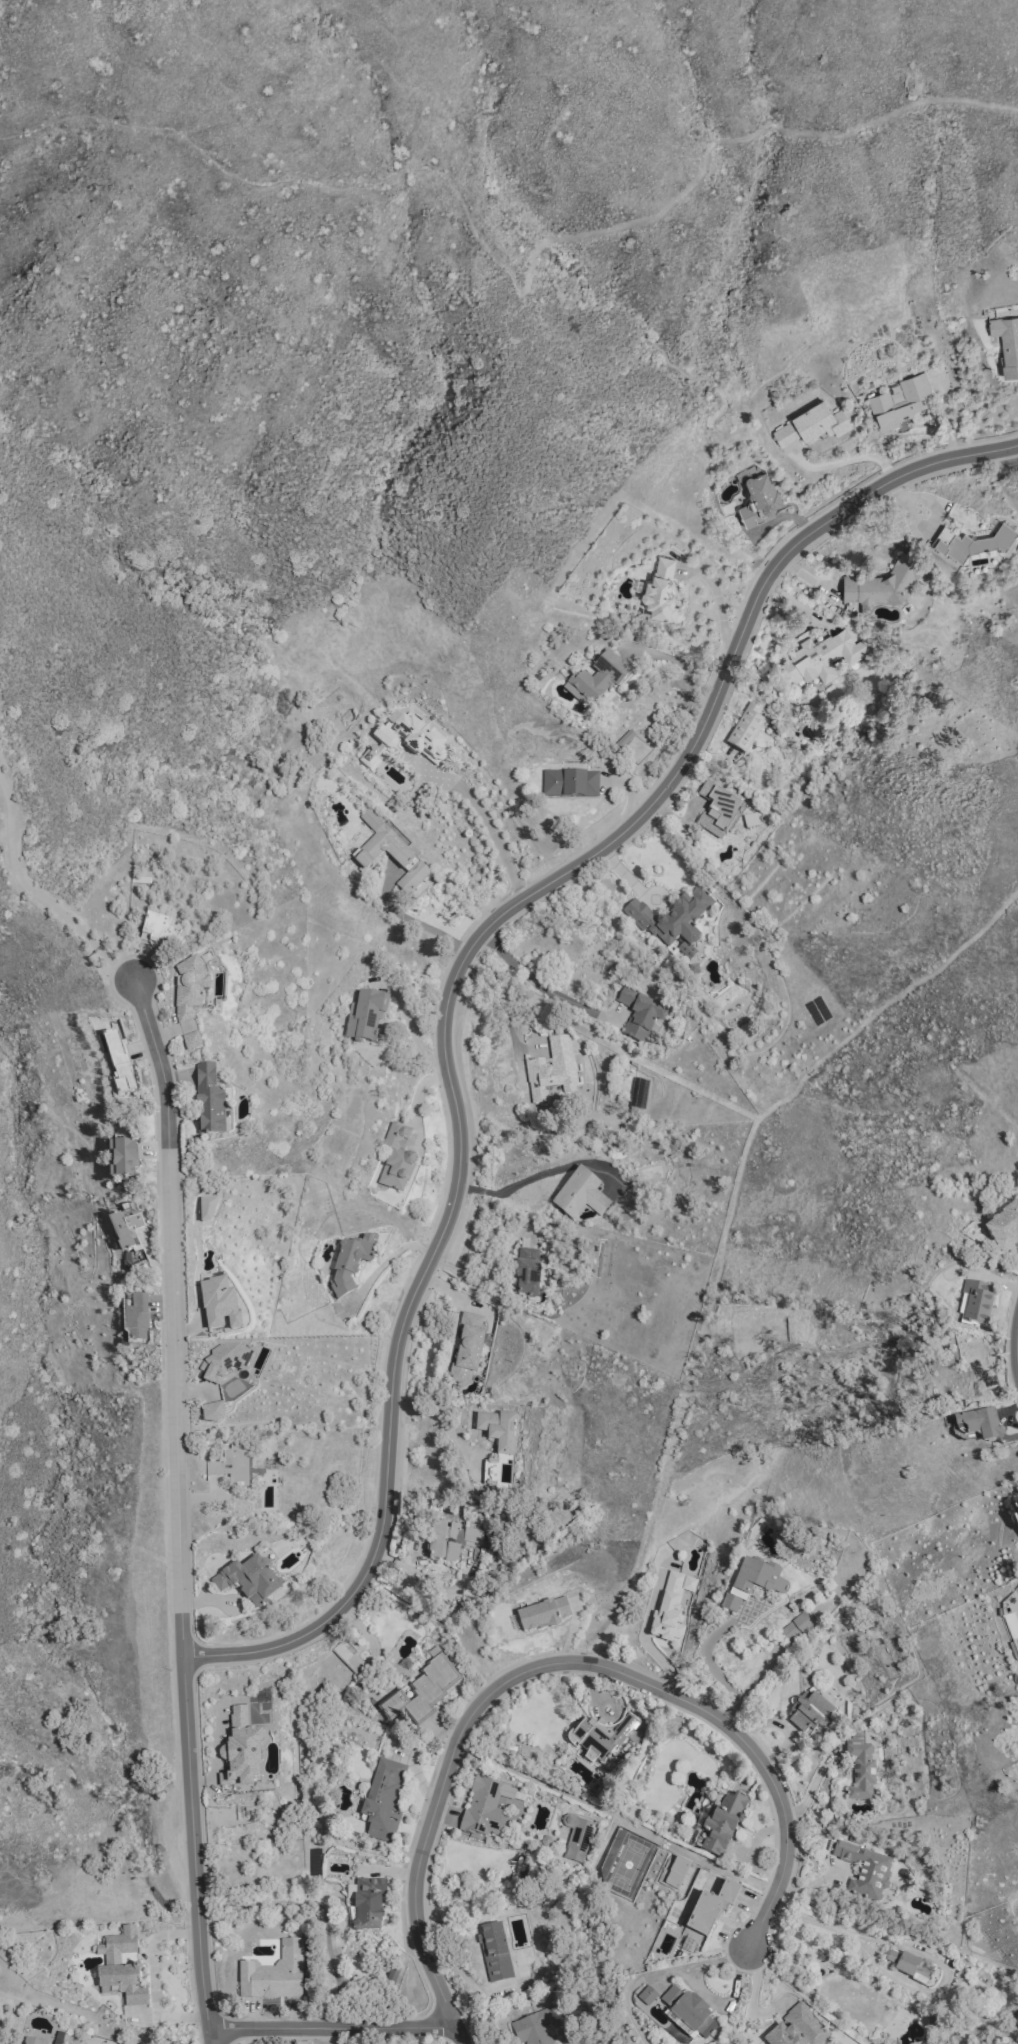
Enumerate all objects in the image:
building: (1005, 342)
building: (900, 401)
building: (811, 424)
road: (1007, 458)
building: (758, 500)
building: (971, 542)
building: (882, 583)
building: (659, 590)
road: (718, 608)
building: (821, 656)
road: (684, 668)
building: (597, 679)
building: (746, 727)
building: (411, 736)
building: (370, 758)
building: (570, 783)
building: (718, 811)
road: (495, 837)
building: (389, 854)
road: (35, 894)
building: (674, 920)
road: (416, 921)
building: (161, 933)
road: (534, 975)
road: (454, 985)
building: (189, 989)
building: (365, 1013)
building: (638, 1015)
building: (187, 1027)
building: (191, 1041)
building: (118, 1063)
building: (551, 1070)
building: (209, 1101)
building: (121, 1158)
building: (396, 1158)
road: (520, 1182)
building: (580, 1194)
building: (206, 1209)
building: (1004, 1226)
building: (124, 1227)
road: (391, 1256)
building: (350, 1262)
building: (527, 1271)
road: (485, 1276)
building: (975, 1301)
building: (218, 1305)
building: (751, 1314)
building: (135, 1317)
building: (807, 1331)
building: (467, 1348)
building: (224, 1360)
building: (976, 1371)
building: (212, 1412)
road: (440, 1421)
building: (977, 1425)
building: (498, 1429)
building: (231, 1465)
building: (1016, 1506)
road: (179, 1510)
building: (450, 1539)
building: (249, 1578)
building: (753, 1581)
building: (671, 1606)
building: (542, 1614)
road: (441, 1623)
building: (796, 1626)
building: (347, 1659)
road: (559, 1663)
road: (714, 1669)
building: (420, 1692)
building: (809, 1712)
building: (601, 1735)
building: (240, 1750)
building: (861, 1770)
building: (384, 1797)
building: (483, 1808)
road: (618, 1817)
building: (722, 1823)
building: (576, 1836)
building: (865, 1870)
building: (676, 1872)
building: (367, 1903)
building: (709, 1910)
building: (494, 1951)
building: (908, 1965)
building: (120, 1967)
building: (273, 1973)
road: (657, 1975)
building: (647, 1995)
road: (724, 2001)
building: (689, 2010)
road: (332, 2028)
building: (532, 2028)
building: (797, 2028)
road: (462, 2036)

